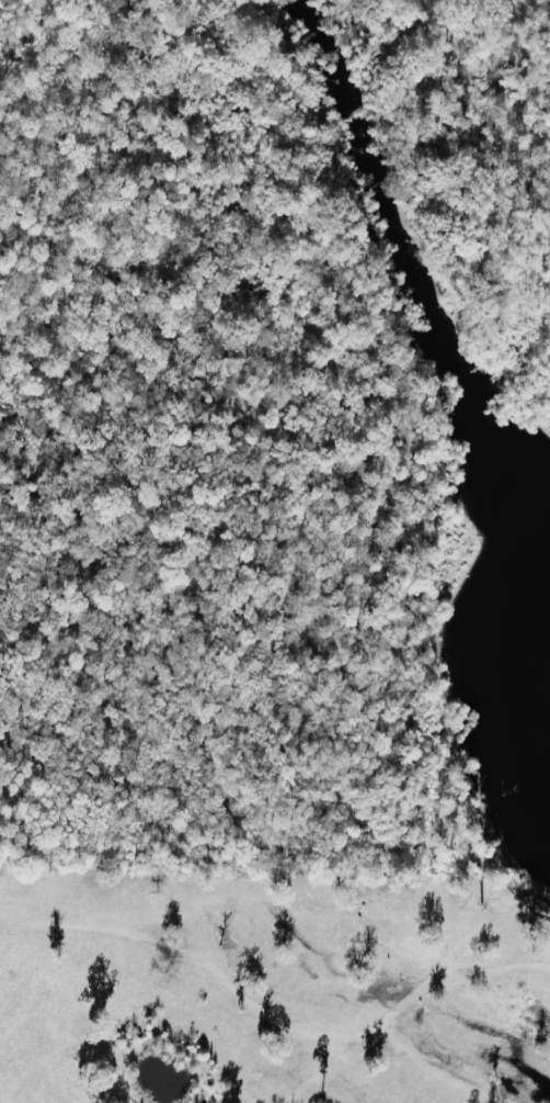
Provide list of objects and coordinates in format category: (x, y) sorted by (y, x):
road: (320, 947)
road: (125, 1001)

